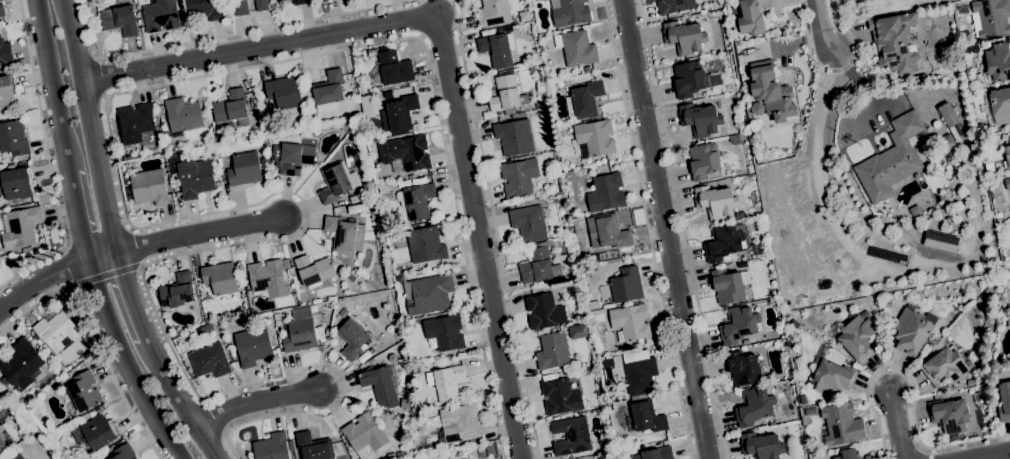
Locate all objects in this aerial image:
building: (278, 0)
building: (321, 0)
building: (324, 0)
building: (300, 2)
building: (260, 5)
building: (180, 6)
building: (669, 6)
building: (239, 7)
building: (204, 9)
building: (2, 10)
building: (569, 12)
building: (493, 13)
building: (160, 15)
building: (524, 16)
building: (750, 18)
building: (990, 18)
building: (119, 19)
road: (428, 26)
road: (817, 26)
building: (500, 29)
road: (226, 35)
building: (684, 37)
building: (894, 42)
building: (576, 48)
building: (971, 48)
building: (497, 49)
building: (5, 52)
building: (371, 52)
road: (444, 59)
building: (996, 62)
building: (390, 69)
building: (531, 69)
building: (586, 69)
road: (838, 71)
road: (850, 75)
road: (102, 76)
building: (688, 79)
building: (716, 79)
road: (835, 82)
building: (551, 84)
road: (51, 86)
building: (7, 91)
building: (327, 91)
building: (402, 91)
building: (284, 93)
building: (505, 93)
building: (769, 93)
building: (377, 95)
building: (584, 100)
building: (367, 101)
building: (538, 105)
building: (998, 105)
building: (159, 108)
building: (231, 109)
building: (182, 114)
building: (398, 114)
building: (517, 115)
building: (947, 115)
building: (700, 119)
building: (135, 122)
building: (348, 122)
road: (90, 126)
building: (982, 128)
flagpole: (834, 131)
building: (215, 136)
building: (514, 137)
building: (595, 137)
building: (12, 139)
building: (946, 141)
building: (1008, 153)
building: (405, 154)
building: (292, 157)
building: (173, 158)
road: (48, 159)
building: (891, 159)
building: (704, 160)
building: (264, 163)
building: (989, 167)
building: (244, 169)
building: (518, 177)
building: (194, 178)
building: (17, 182)
building: (336, 182)
building: (1007, 184)
building: (149, 187)
building: (128, 193)
building: (606, 193)
building: (354, 198)
building: (416, 201)
building: (715, 201)
building: (357, 208)
building: (998, 208)
road: (124, 214)
road: (76, 216)
building: (738, 217)
building: (528, 223)
building: (415, 226)
building: (20, 227)
road: (494, 229)
road: (647, 229)
road: (665, 229)
road: (682, 229)
building: (608, 232)
building: (344, 234)
road: (198, 235)
building: (554, 242)
building: (722, 242)
building: (425, 245)
building: (26, 249)
road: (861, 258)
building: (538, 266)
building: (419, 268)
building: (314, 270)
road: (107, 273)
building: (243, 275)
road: (53, 276)
building: (350, 277)
building: (219, 278)
building: (268, 278)
building: (626, 285)
building: (727, 286)
building: (178, 292)
building: (201, 293)
building: (429, 294)
road: (128, 296)
building: (303, 296)
building: (544, 312)
building: (342, 313)
building: (573, 317)
building: (630, 322)
building: (738, 325)
building: (55, 330)
road: (95, 330)
building: (299, 331)
building: (327, 331)
building: (444, 332)
building: (911, 332)
building: (33, 335)
building: (321, 337)
building: (351, 337)
building: (856, 337)
building: (745, 342)
building: (252, 346)
building: (821, 348)
building: (552, 350)
building: (391, 358)
building: (376, 360)
building: (209, 361)
building: (607, 362)
road: (125, 363)
building: (849, 363)
building: (23, 366)
building: (60, 366)
building: (946, 367)
building: (743, 368)
building: (996, 371)
building: (639, 372)
building: (561, 373)
building: (832, 377)
building: (445, 383)
building: (382, 385)
road: (915, 390)
building: (84, 391)
building: (560, 397)
building: (976, 397)
road: (177, 400)
road: (254, 401)
building: (1004, 401)
building: (404, 403)
building: (754, 406)
building: (949, 416)
building: (645, 417)
building: (430, 423)
building: (460, 423)
building: (842, 424)
road: (898, 426)
building: (98, 432)
building: (364, 435)
building: (570, 436)
building: (2, 445)
building: (290, 445)
building: (761, 445)
building: (314, 446)
building: (271, 447)
building: (490, 448)
building: (123, 452)
building: (657, 453)
building: (847, 454)
road: (991, 455)
building: (17, 456)
building: (400, 456)
building: (867, 457)

